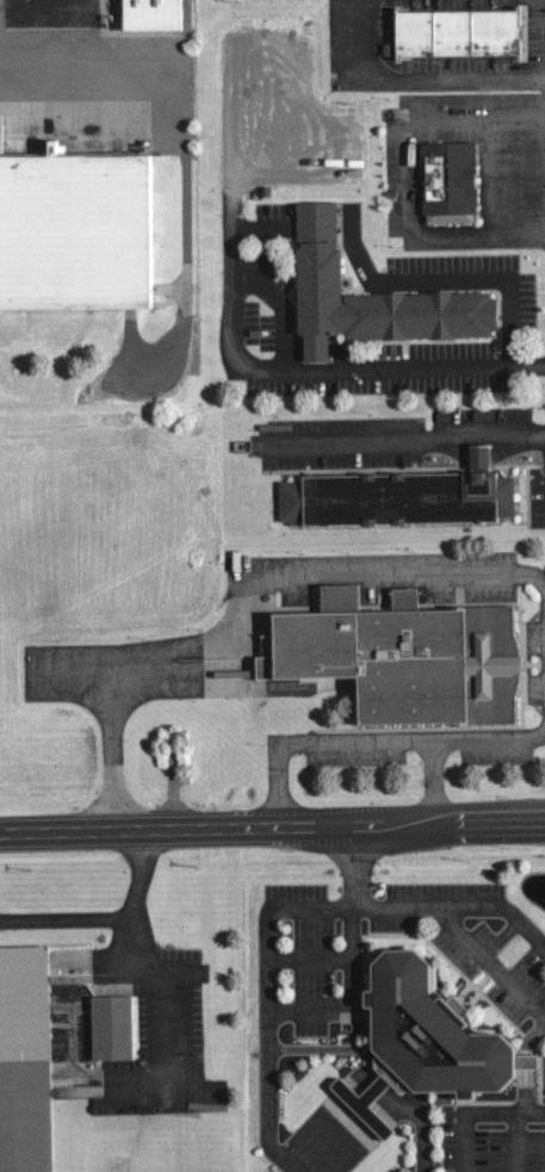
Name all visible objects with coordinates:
building: (153, 14)
road: (544, 18)
building: (462, 32)
road: (117, 66)
road: (411, 73)
road: (489, 172)
road: (407, 174)
building: (448, 180)
building: (78, 232)
building: (322, 269)
road: (230, 273)
road: (441, 280)
road: (415, 366)
road: (405, 434)
building: (396, 495)
road: (404, 573)
road: (124, 658)
building: (404, 659)
road: (377, 740)
road: (431, 782)
road: (272, 826)
road: (459, 898)
road: (286, 909)
road: (67, 916)
road: (140, 955)
road: (309, 955)
road: (487, 955)
road: (351, 999)
building: (453, 1006)
building: (113, 1027)
building: (428, 1035)
road: (311, 1048)
road: (520, 1059)
building: (25, 1061)
road: (528, 1065)
road: (367, 1073)
road: (395, 1078)
building: (361, 1104)
road: (472, 1109)
road: (268, 1115)
road: (323, 1115)
road: (330, 1121)
road: (336, 1127)
road: (346, 1131)
road: (357, 1135)
road: (365, 1137)
road: (373, 1140)
road: (516, 1140)

